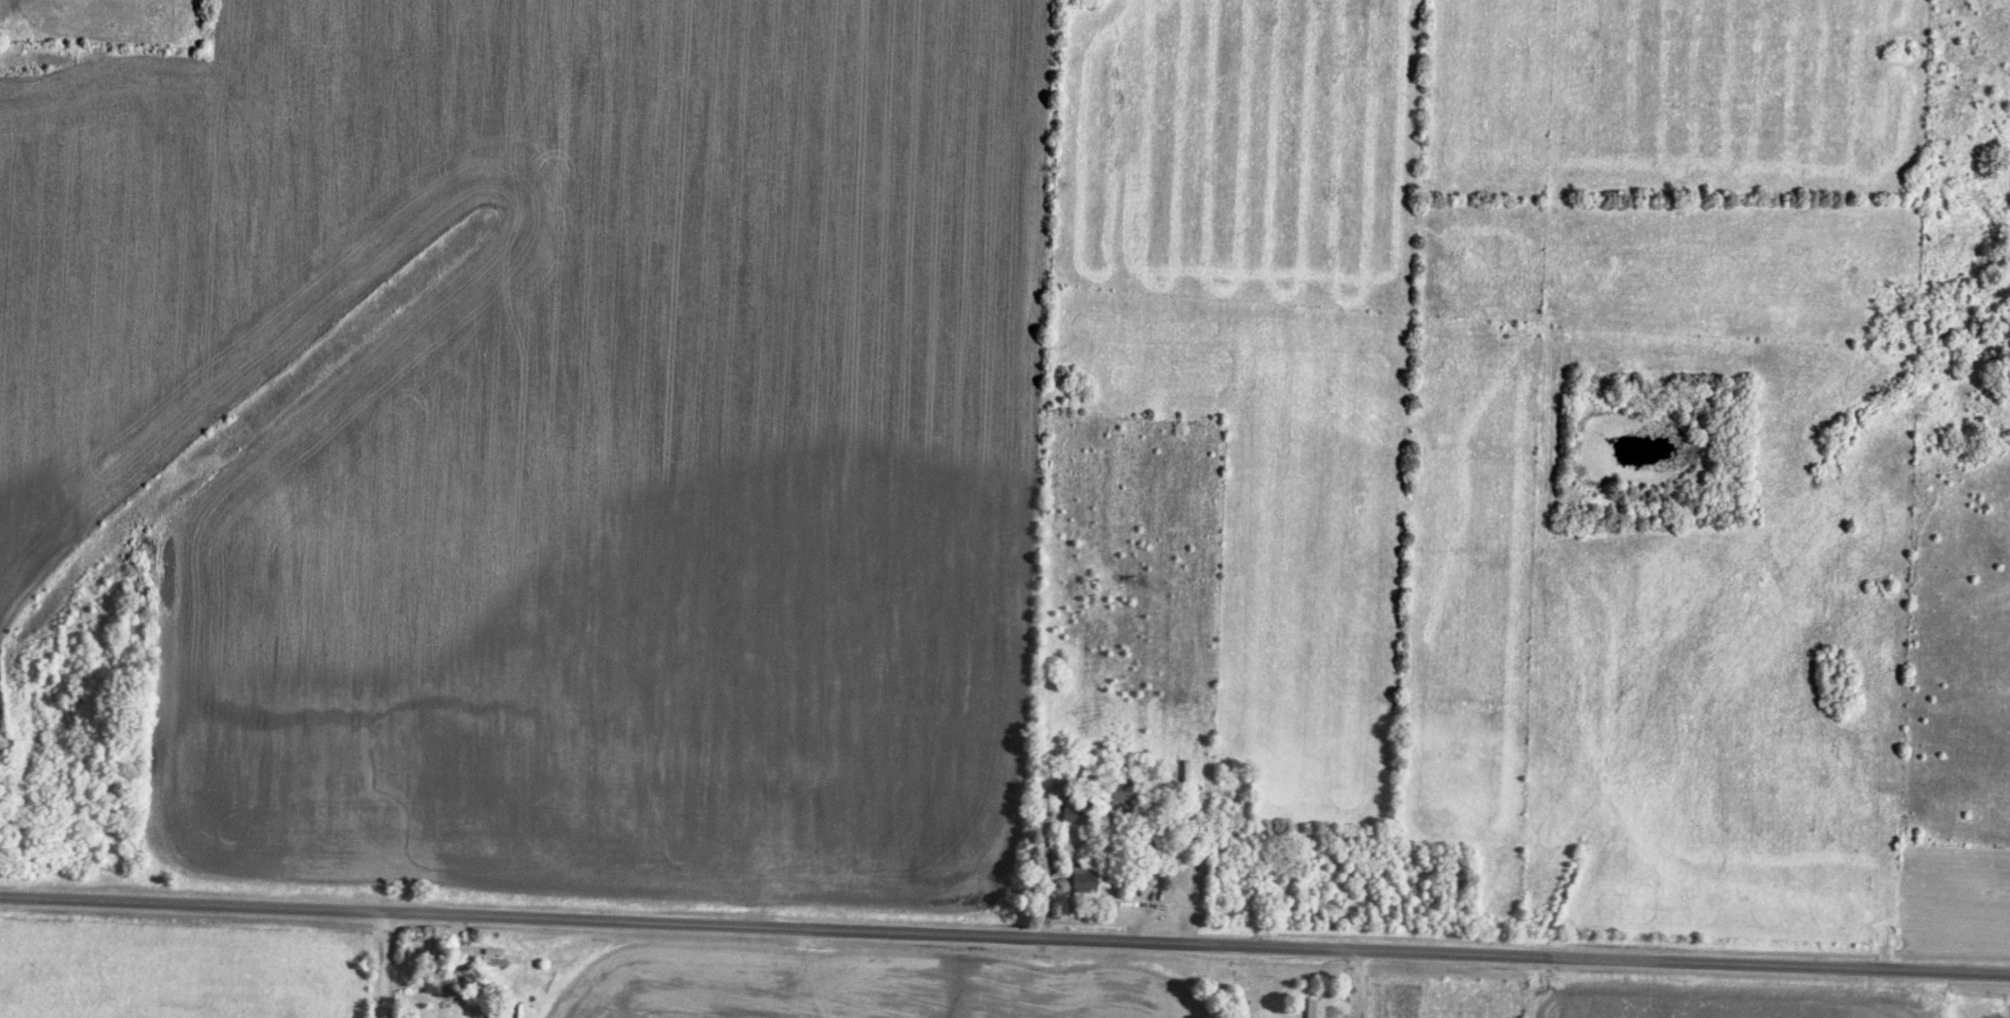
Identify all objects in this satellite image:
building: (1124, 785)
building: (1074, 811)
building: (1083, 880)
road: (1045, 881)
road: (1004, 940)
road: (382, 966)
road: (1358, 985)
building: (1318, 1007)

